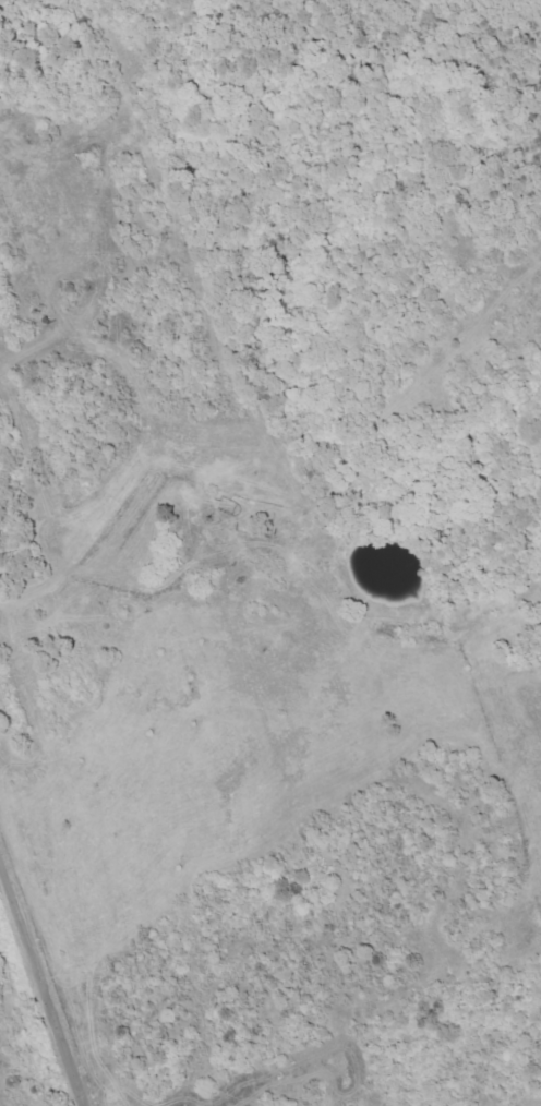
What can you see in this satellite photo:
road: (46, 978)

